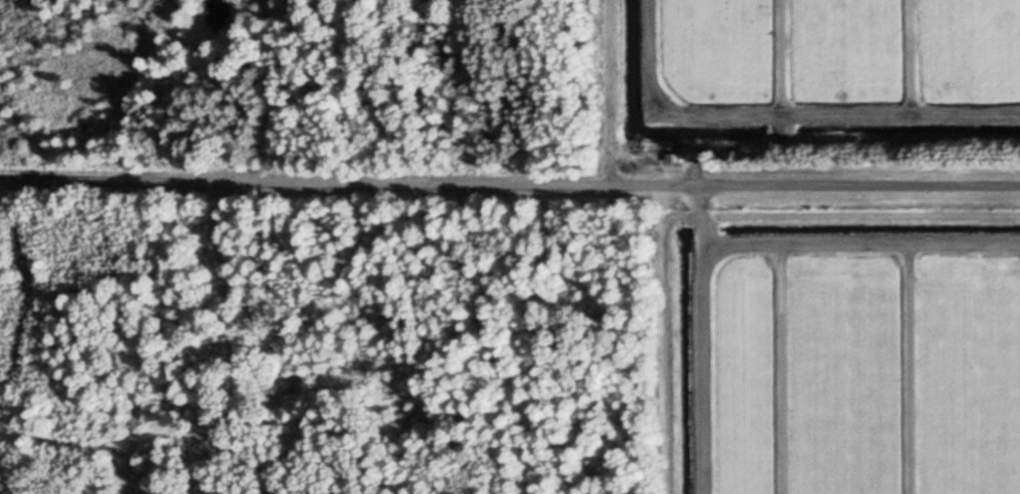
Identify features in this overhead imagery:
road: (510, 177)

